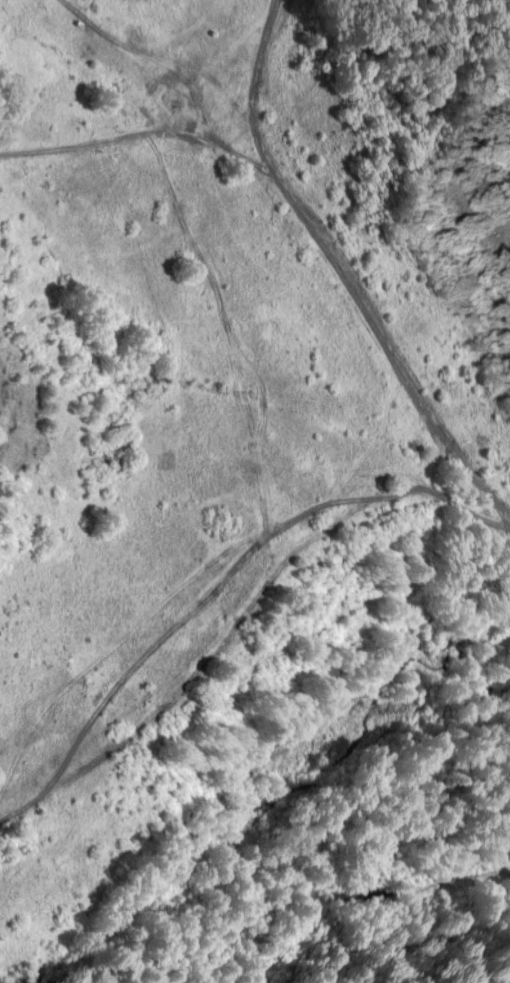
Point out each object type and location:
road: (239, 753)

